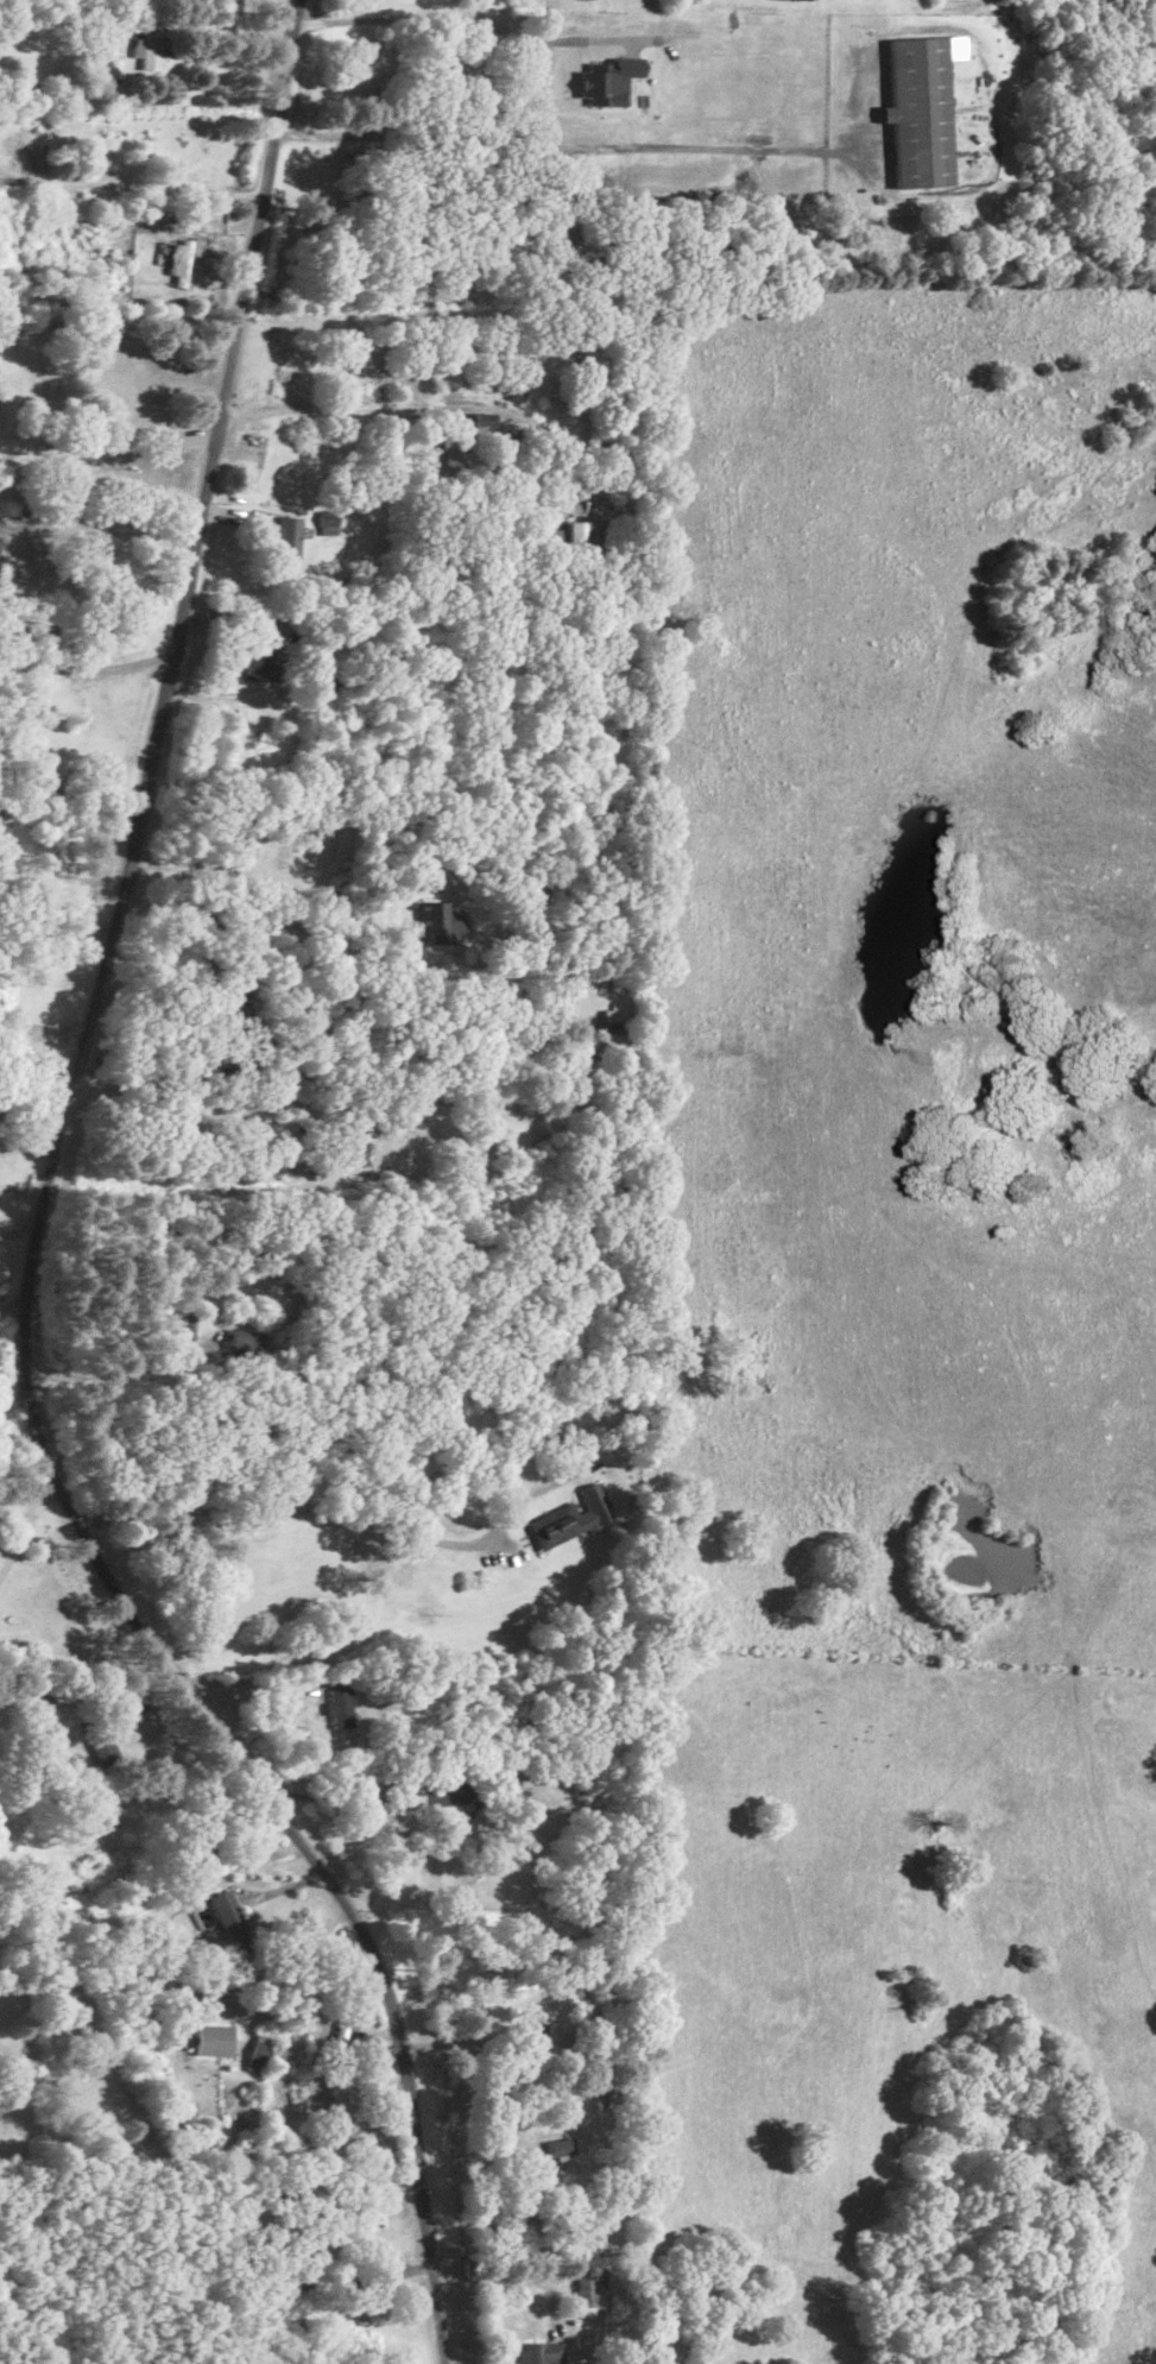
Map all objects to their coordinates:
road: (467, 15)
road: (225, 36)
building: (146, 50)
building: (607, 80)
building: (920, 107)
road: (561, 145)
road: (128, 185)
building: (182, 257)
road: (335, 404)
road: (105, 441)
building: (324, 522)
building: (583, 534)
building: (284, 535)
building: (545, 535)
building: (260, 657)
road: (88, 667)
road: (62, 875)
building: (441, 920)
road: (56, 922)
road: (44, 1021)
building: (612, 1023)
road: (157, 1072)
road: (206, 1117)
building: (354, 1145)
road: (39, 1224)
road: (19, 1229)
building: (244, 1337)
road: (110, 1368)
road: (282, 1508)
building: (569, 1517)
building: (339, 1704)
building: (102, 1748)
building: (411, 1795)
building: (229, 1917)
building: (531, 2034)
building: (339, 2035)
building: (211, 2037)
building: (258, 2053)
building: (342, 2099)
building: (556, 2144)
road: (505, 2230)
road: (512, 2275)
building: (589, 2286)
building: (359, 2312)
building: (537, 2351)

